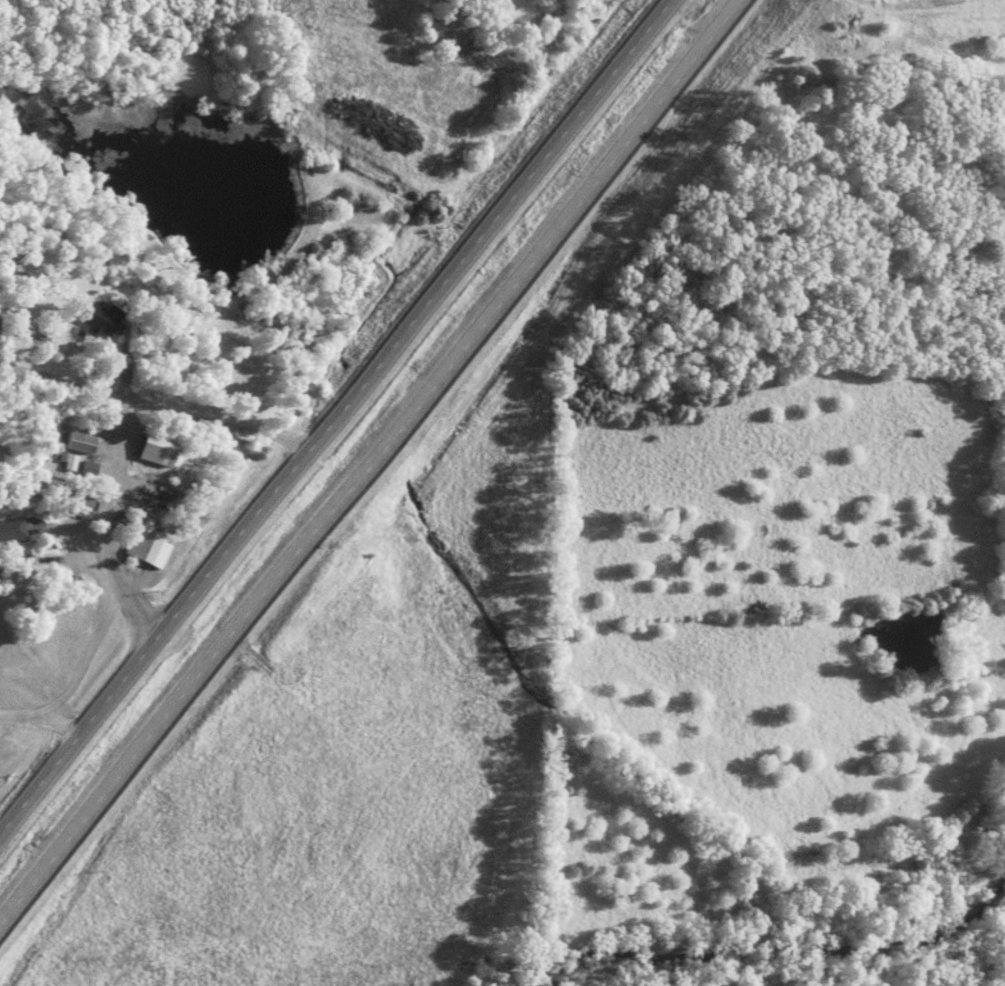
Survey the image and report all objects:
building: (98, 318)
road: (331, 409)
road: (371, 460)
building: (12, 528)
building: (148, 548)

